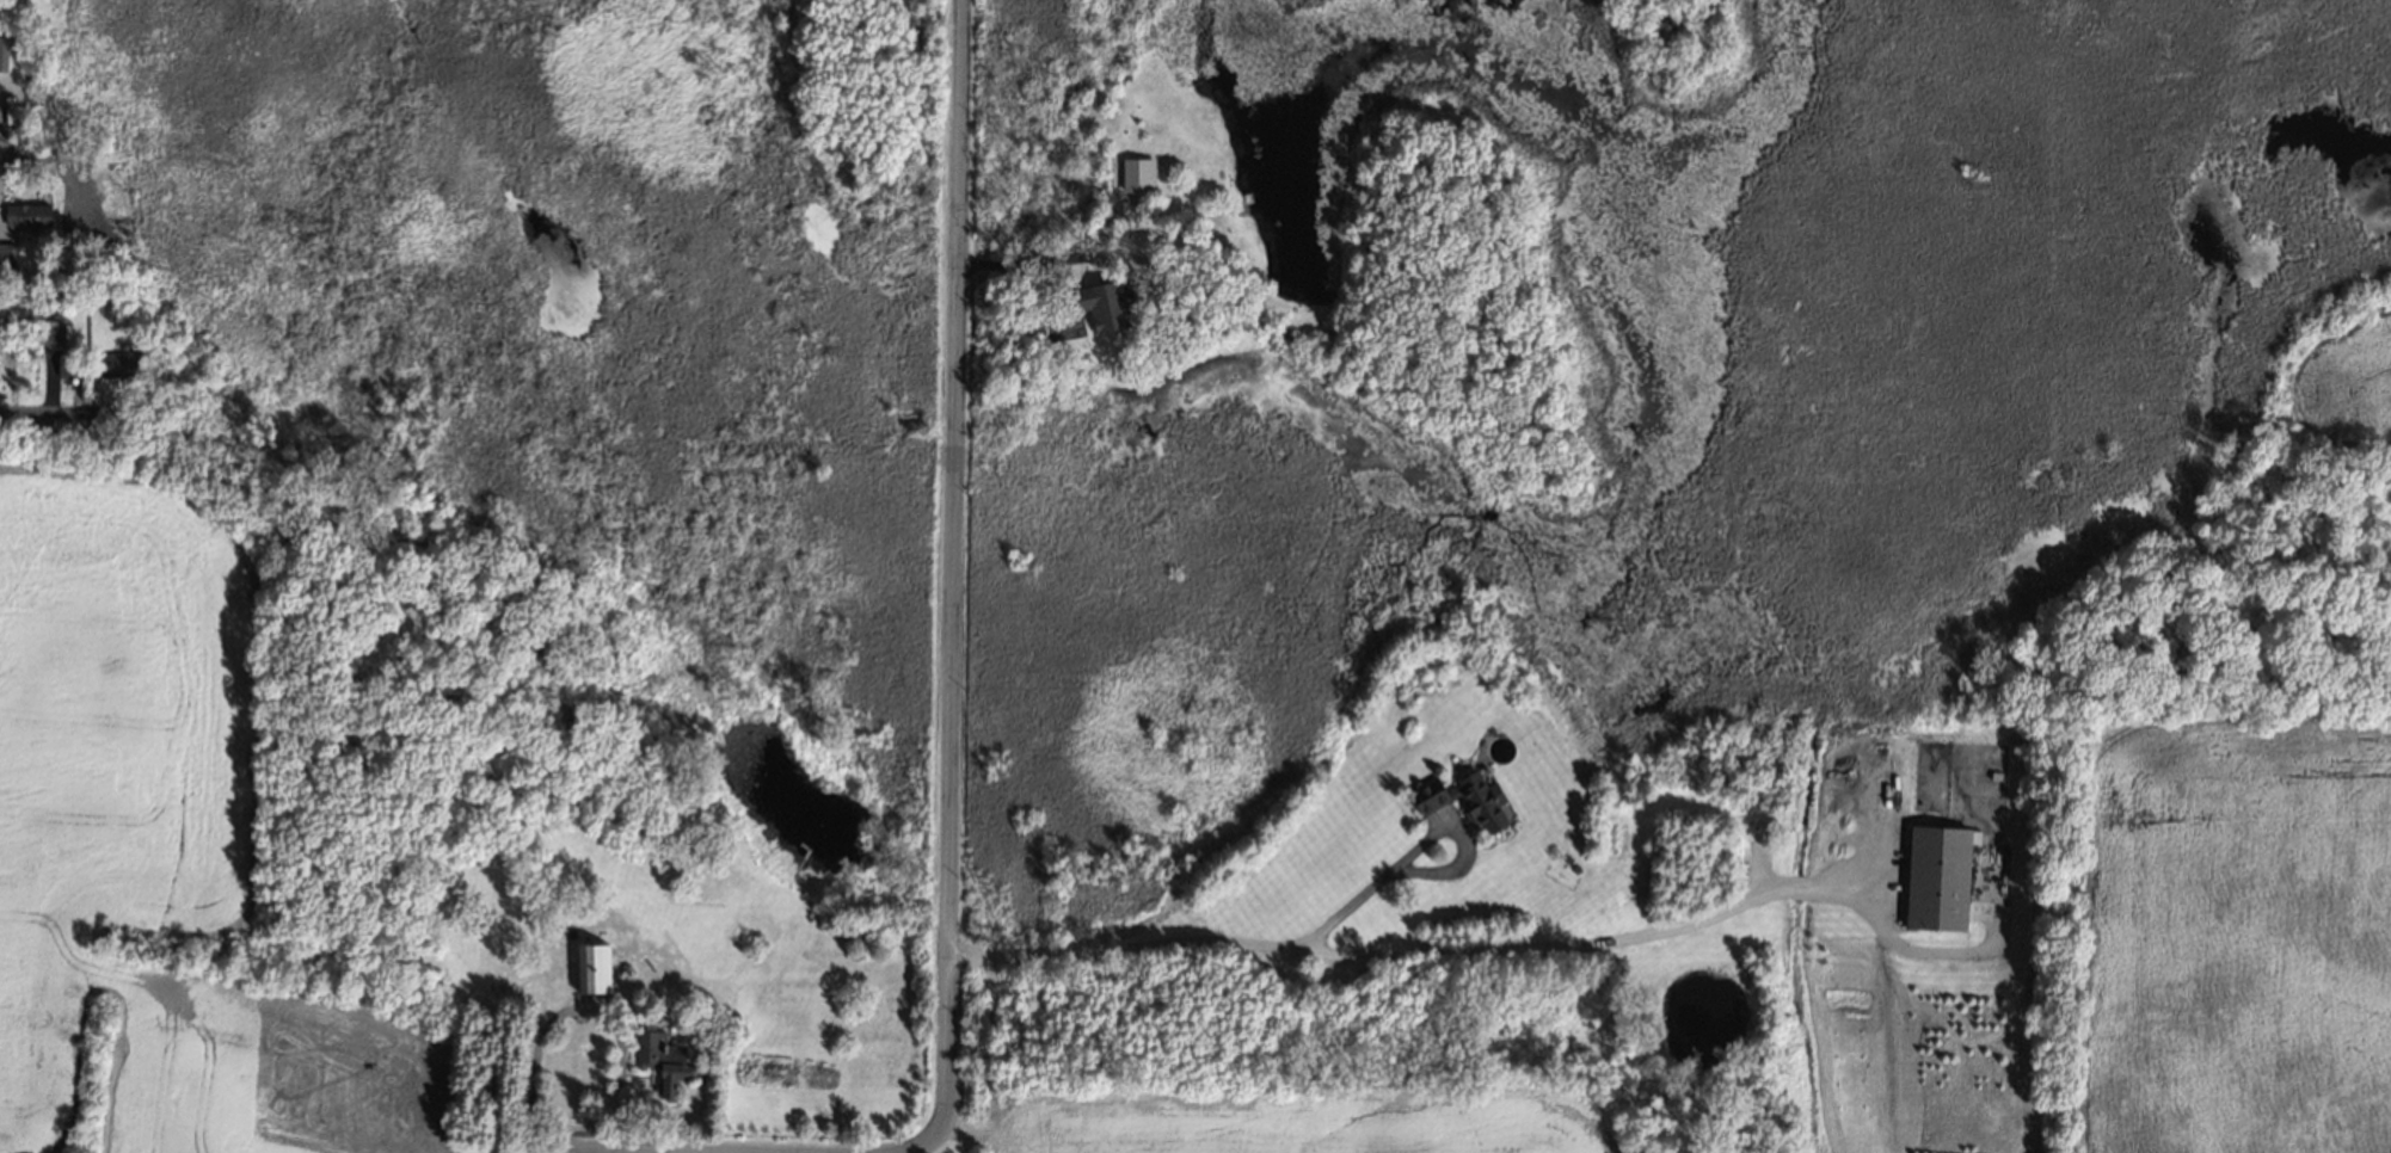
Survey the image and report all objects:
road: (1, 158)
building: (26, 209)
building: (6, 260)
road: (1018, 271)
building: (59, 278)
building: (92, 295)
building: (53, 335)
building: (107, 363)
building: (68, 364)
road: (48, 415)
road: (949, 556)
building: (1457, 796)
road: (1419, 849)
building: (1565, 857)
building: (1573, 867)
building: (1937, 876)
road: (1409, 952)
building: (591, 964)
building: (622, 967)
road: (578, 1010)
building: (659, 1063)
road: (939, 1139)
road: (585, 1152)
road: (643, 1152)

